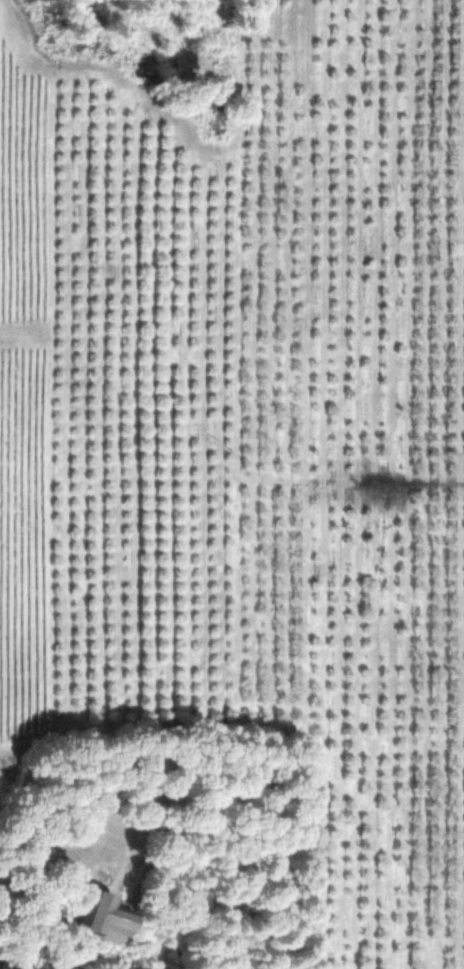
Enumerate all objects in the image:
building: (95, 916)
building: (1, 965)

